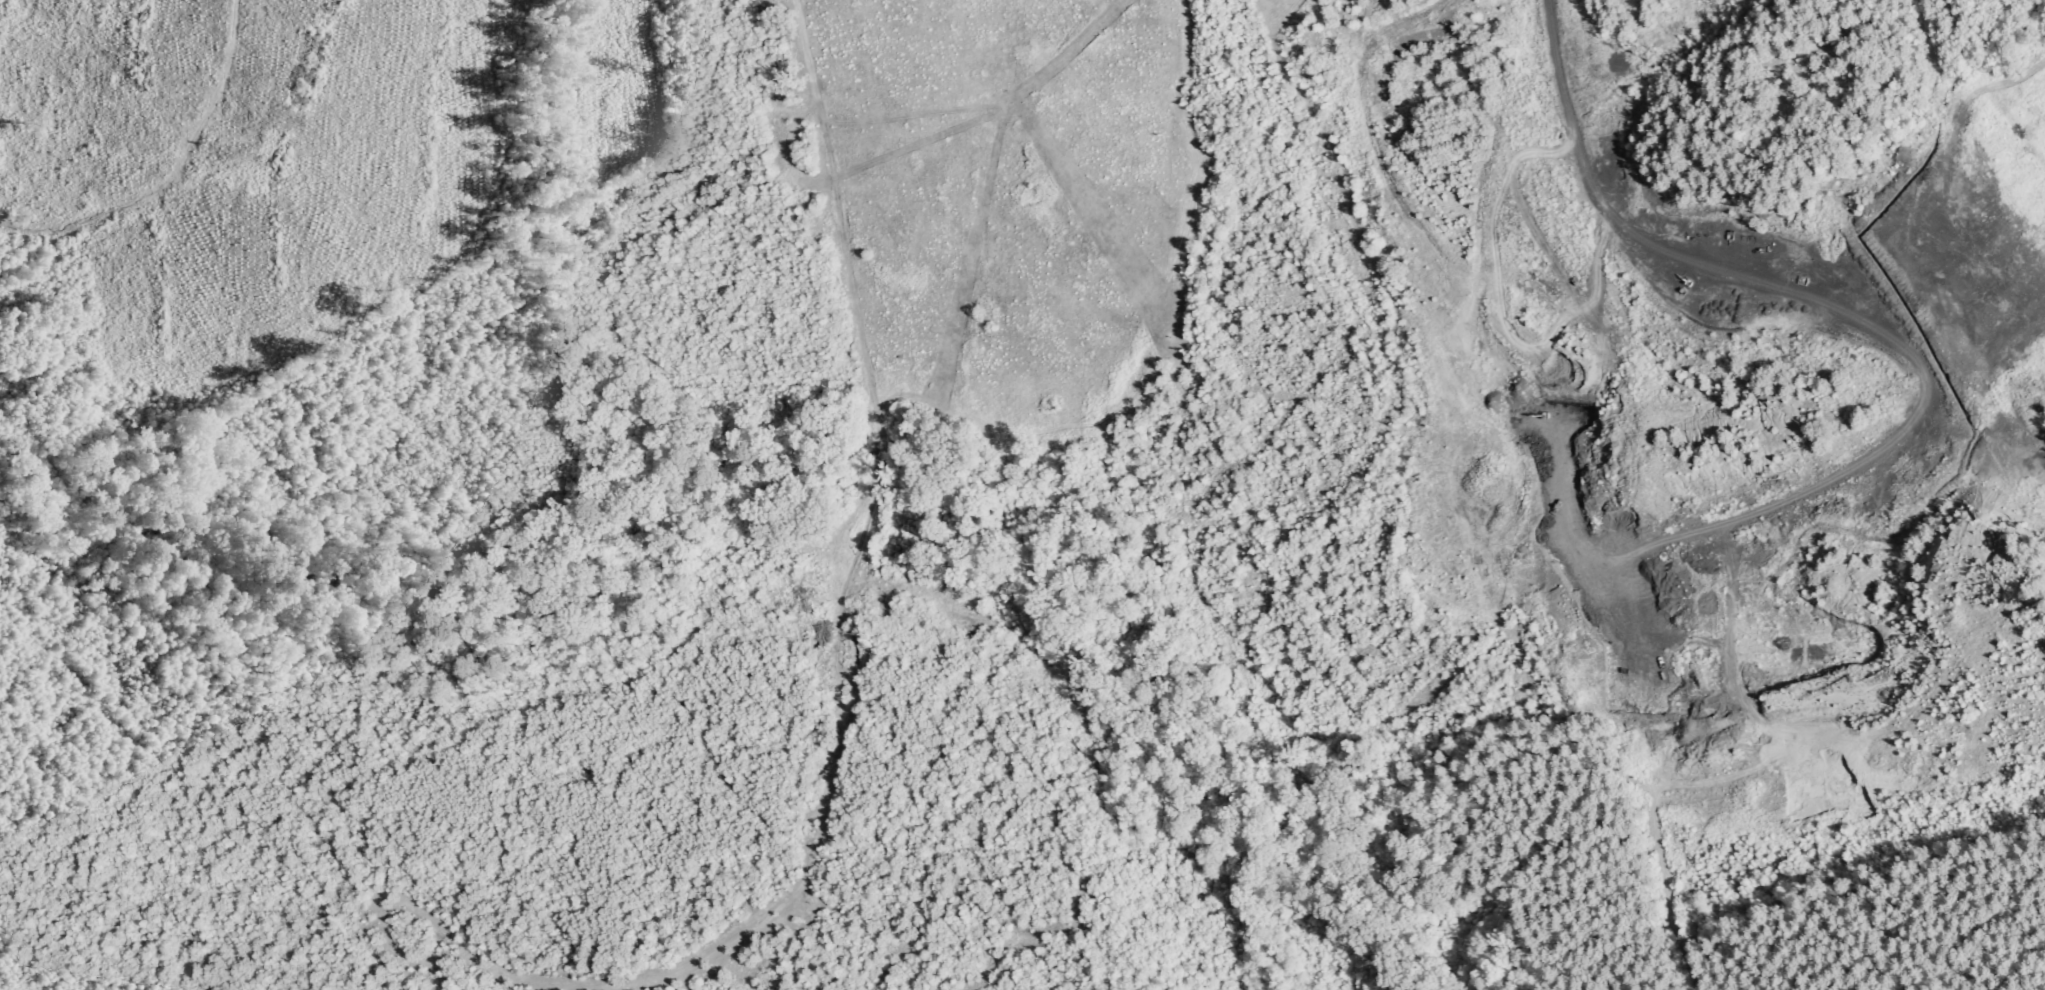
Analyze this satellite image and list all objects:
road: (1614, 151)

